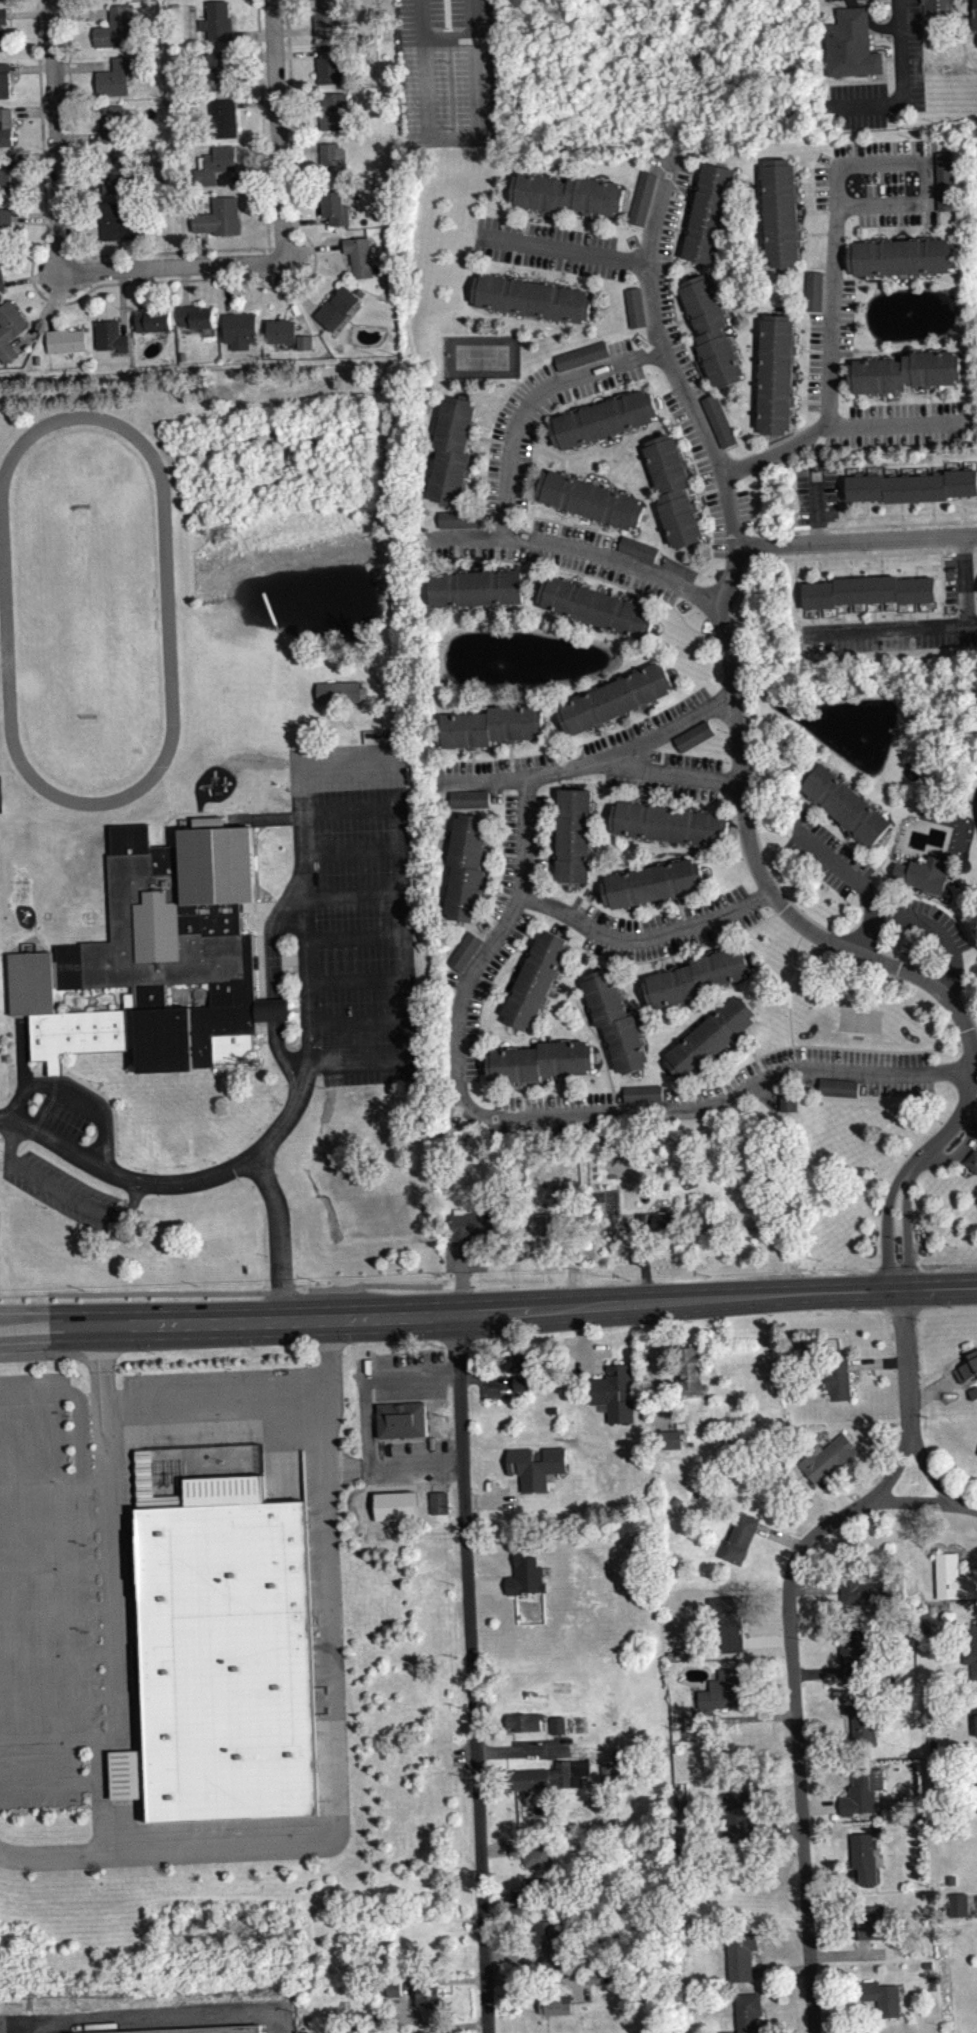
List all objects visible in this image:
building: (115, 0)
parking lot: (838, 0)
building: (4, 3)
building: (938, 5)
building: (973, 14)
building: (330, 17)
building: (217, 21)
building: (2, 22)
building: (119, 28)
building: (851, 44)
parking lot: (911, 55)
building: (329, 65)
building: (222, 70)
parking lot: (452, 72)
building: (114, 76)
building: (4, 80)
road: (903, 81)
parking lot: (854, 106)
building: (334, 110)
road: (291, 113)
building: (223, 118)
building: (111, 121)
building: (5, 126)
road: (71, 127)
road: (277, 131)
road: (57, 136)
building: (333, 161)
building: (216, 163)
building: (116, 171)
building: (8, 176)
building: (945, 179)
parking lot: (881, 182)
road: (925, 184)
road: (806, 188)
building: (568, 193)
building: (642, 197)
building: (336, 207)
building: (780, 212)
building: (710, 213)
road: (534, 215)
building: (220, 217)
road: (267, 219)
road: (585, 222)
building: (120, 224)
building: (5, 225)
road: (818, 232)
road: (923, 232)
road: (878, 234)
parking lot: (549, 246)
road: (568, 250)
building: (361, 255)
road: (75, 256)
building: (902, 256)
road: (173, 268)
parking lot: (668, 268)
road: (511, 271)
building: (2, 279)
road: (561, 279)
road: (873, 282)
building: (814, 289)
building: (532, 297)
road: (60, 302)
building: (635, 306)
building: (337, 308)
building: (195, 316)
building: (153, 319)
building: (10, 329)
building: (240, 329)
building: (712, 330)
building: (287, 333)
building: (110, 335)
building: (65, 339)
parking lot: (829, 343)
building: (306, 349)
road: (869, 349)
road: (802, 350)
road: (832, 353)
road: (667, 354)
park: (481, 355)
building: (582, 355)
building: (903, 371)
building: (775, 373)
road: (926, 394)
road: (884, 399)
road: (799, 400)
building: (603, 417)
building: (718, 419)
parking lot: (897, 424)
road: (893, 425)
parking lot: (514, 432)
road: (480, 435)
building: (451, 450)
road: (565, 456)
road: (691, 461)
road: (580, 464)
road: (478, 475)
parking lot: (711, 481)
building: (912, 486)
building: (673, 490)
parking lot: (815, 494)
road: (839, 496)
road: (699, 498)
building: (590, 499)
road: (970, 501)
road: (817, 505)
road: (507, 507)
road: (964, 507)
road: (932, 511)
road: (902, 512)
road: (860, 513)
building: (458, 518)
road: (550, 519)
road: (883, 524)
building: (459, 526)
road: (590, 527)
road: (604, 528)
road: (467, 534)
road: (856, 540)
road: (947, 543)
building: (638, 548)
road: (940, 551)
parking lot: (555, 553)
road: (843, 556)
road: (881, 565)
road: (850, 567)
road: (819, 569)
road: (941, 572)
road: (580, 578)
road: (974, 578)
road: (613, 582)
building: (476, 587)
road: (797, 591)
building: (869, 591)
road: (627, 594)
building: (598, 607)
parking lot: (965, 608)
road: (892, 610)
road: (926, 610)
track: (88, 611)
road: (874, 611)
road: (910, 611)
road: (861, 612)
road: (976, 612)
road: (842, 613)
road: (812, 616)
road: (971, 626)
road: (930, 628)
building: (615, 698)
building: (342, 699)
building: (489, 726)
building: (693, 735)
building: (695, 743)
parking lot: (576, 750)
road: (590, 763)
road: (672, 771)
parking lot: (677, 777)
road: (169, 793)
building: (469, 798)
building: (846, 805)
road: (401, 810)
road: (189, 815)
building: (669, 823)
building: (574, 835)
parking lot: (520, 845)
road: (353, 854)
parking lot: (827, 856)
road: (882, 862)
building: (466, 866)
building: (924, 873)
road: (857, 880)
road: (889, 880)
building: (653, 882)
road: (764, 882)
road: (922, 894)
road: (355, 898)
road: (679, 900)
road: (944, 908)
road: (636, 911)
road: (760, 911)
parking lot: (352, 913)
road: (288, 916)
parking lot: (924, 919)
parking lot: (666, 926)
road: (782, 929)
road: (939, 930)
road: (646, 936)
road: (40, 938)
road: (357, 938)
building: (465, 950)
road: (524, 950)
road: (682, 950)
building: (165, 956)
road: (6, 968)
building: (697, 976)
building: (536, 979)
building: (32, 983)
road: (358, 983)
road: (503, 986)
parking lot: (480, 989)
road: (789, 989)
road: (276, 1004)
building: (615, 1020)
road: (585, 1021)
road: (360, 1024)
building: (711, 1036)
road: (747, 1046)
road: (847, 1047)
building: (540, 1061)
parking lot: (824, 1072)
road: (560, 1085)
building: (838, 1087)
road: (523, 1089)
building: (642, 1093)
building: (788, 1100)
parking lot: (557, 1101)
road: (546, 1118)
building: (972, 1160)
road: (908, 1180)
road: (171, 1185)
road: (893, 1187)
parking lot: (64, 1190)
road: (62, 1191)
building: (555, 1213)
building: (660, 1220)
building: (472, 1225)
road: (280, 1237)
road: (488, 1311)
road: (908, 1365)
building: (513, 1371)
building: (689, 1373)
building: (968, 1374)
building: (832, 1377)
building: (614, 1391)
road: (259, 1407)
road: (365, 1417)
building: (402, 1418)
building: (667, 1438)
building: (670, 1447)
road: (82, 1450)
road: (349, 1465)
building: (830, 1466)
building: (537, 1473)
road: (936, 1482)
road: (98, 1488)
road: (912, 1501)
building: (952, 1577)
building: (528, 1583)
building: (861, 1592)
road: (116, 1595)
building: (730, 1631)
building: (973, 1655)
building: (227, 1660)
building: (854, 1662)
road: (471, 1673)
building: (725, 1698)
road: (795, 1710)
building: (863, 1727)
road: (336, 1729)
building: (976, 1772)
building: (571, 1780)
building: (531, 1786)
building: (864, 1799)
road: (104, 1802)
building: (739, 1821)
building: (534, 1860)
road: (59, 1861)
building: (866, 1864)
building: (535, 1897)
building: (960, 1912)
building: (872, 1930)
building: (740, 1950)
building: (552, 1951)
building: (876, 1996)
building: (430, 2005)
building: (557, 2013)
building: (749, 2016)
building: (185, 2029)

